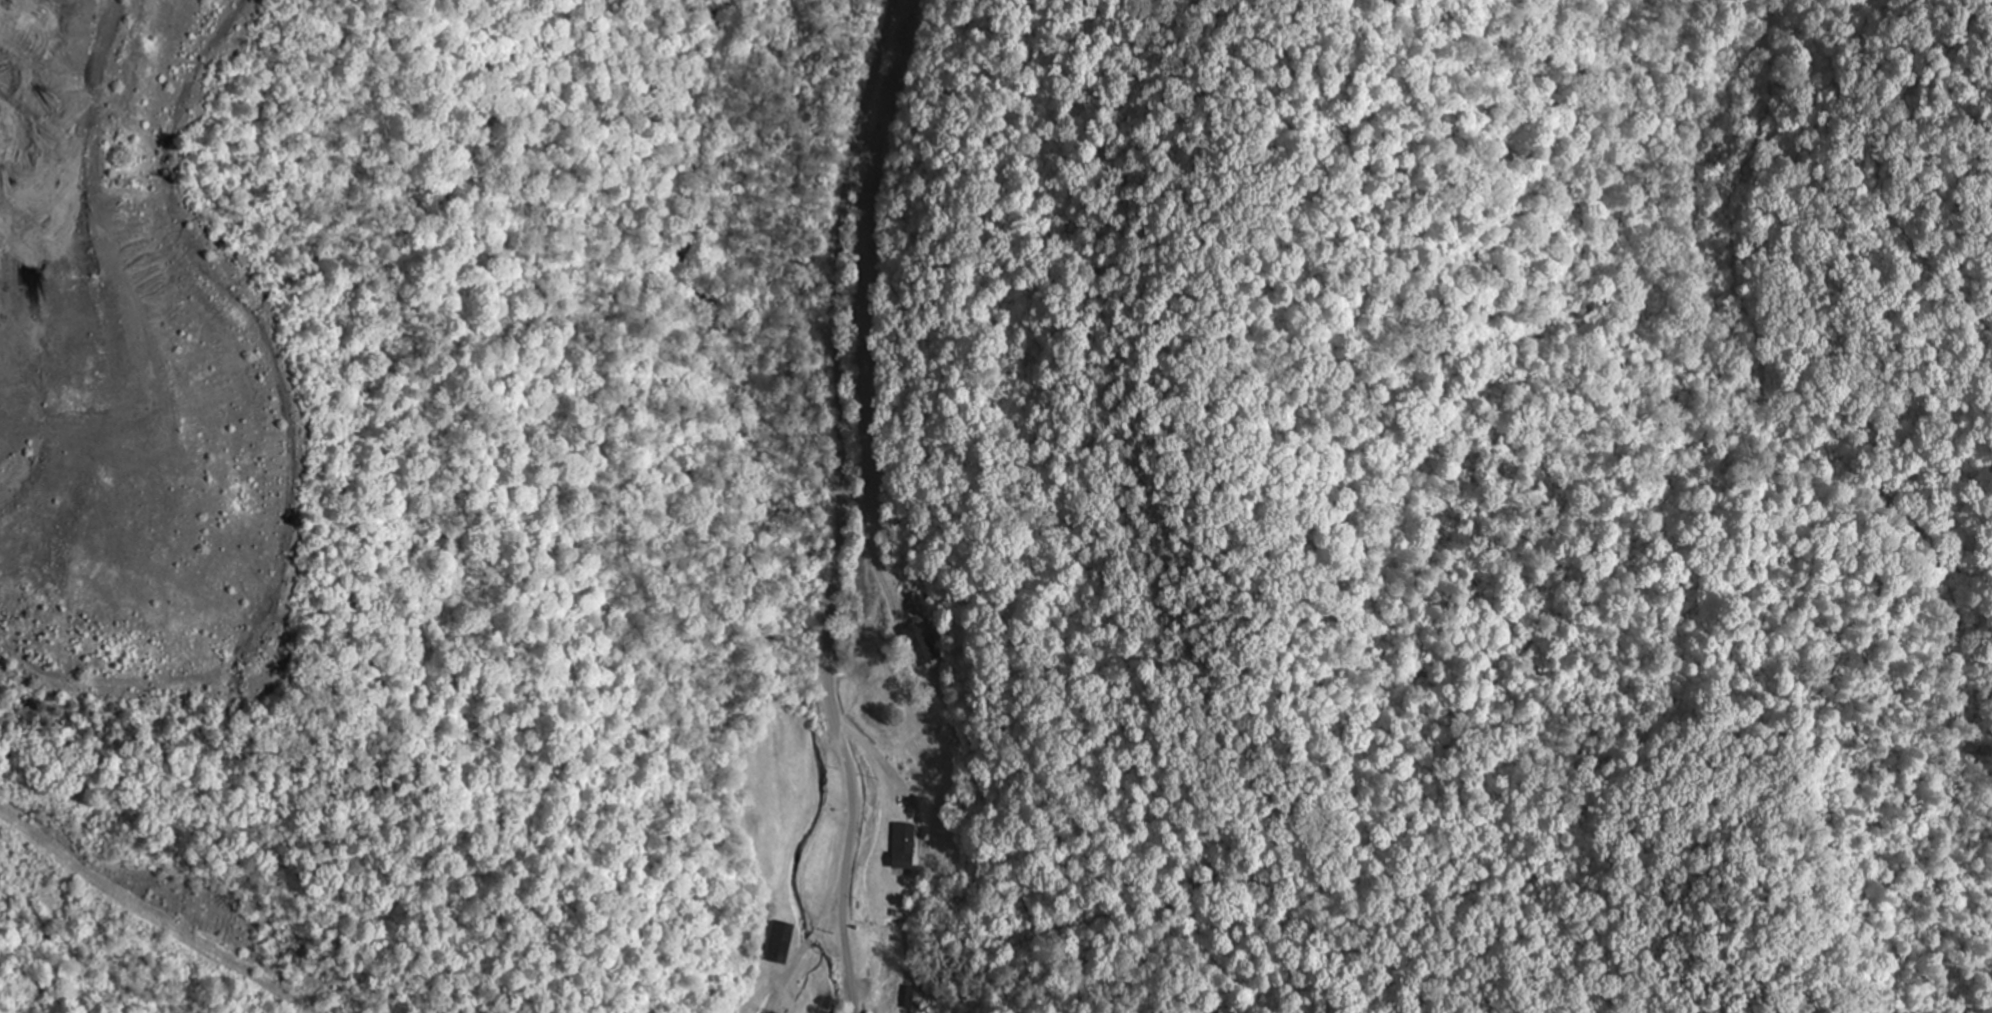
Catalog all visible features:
road: (840, 505)
building: (904, 847)
road: (834, 898)
building: (912, 1000)

